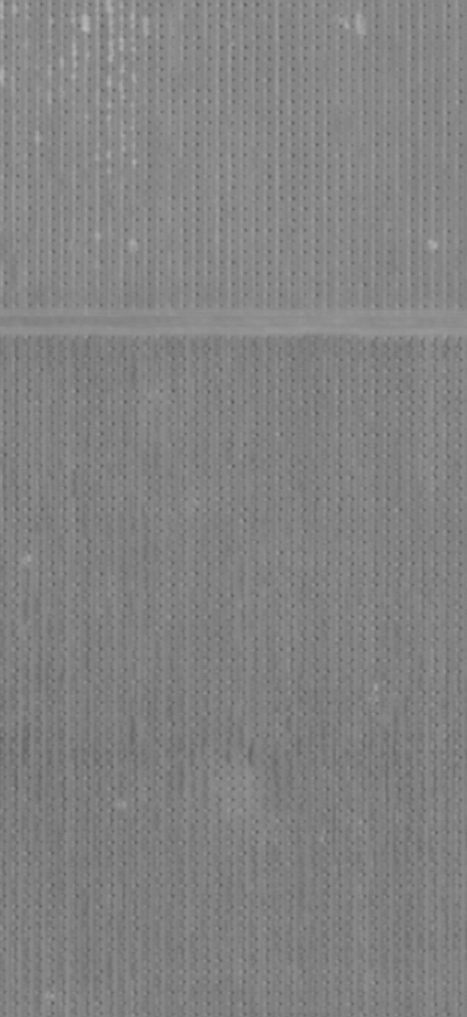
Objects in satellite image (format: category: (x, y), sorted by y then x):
road: (233, 328)
crop: (233, 408)
crop: (232, 918)

